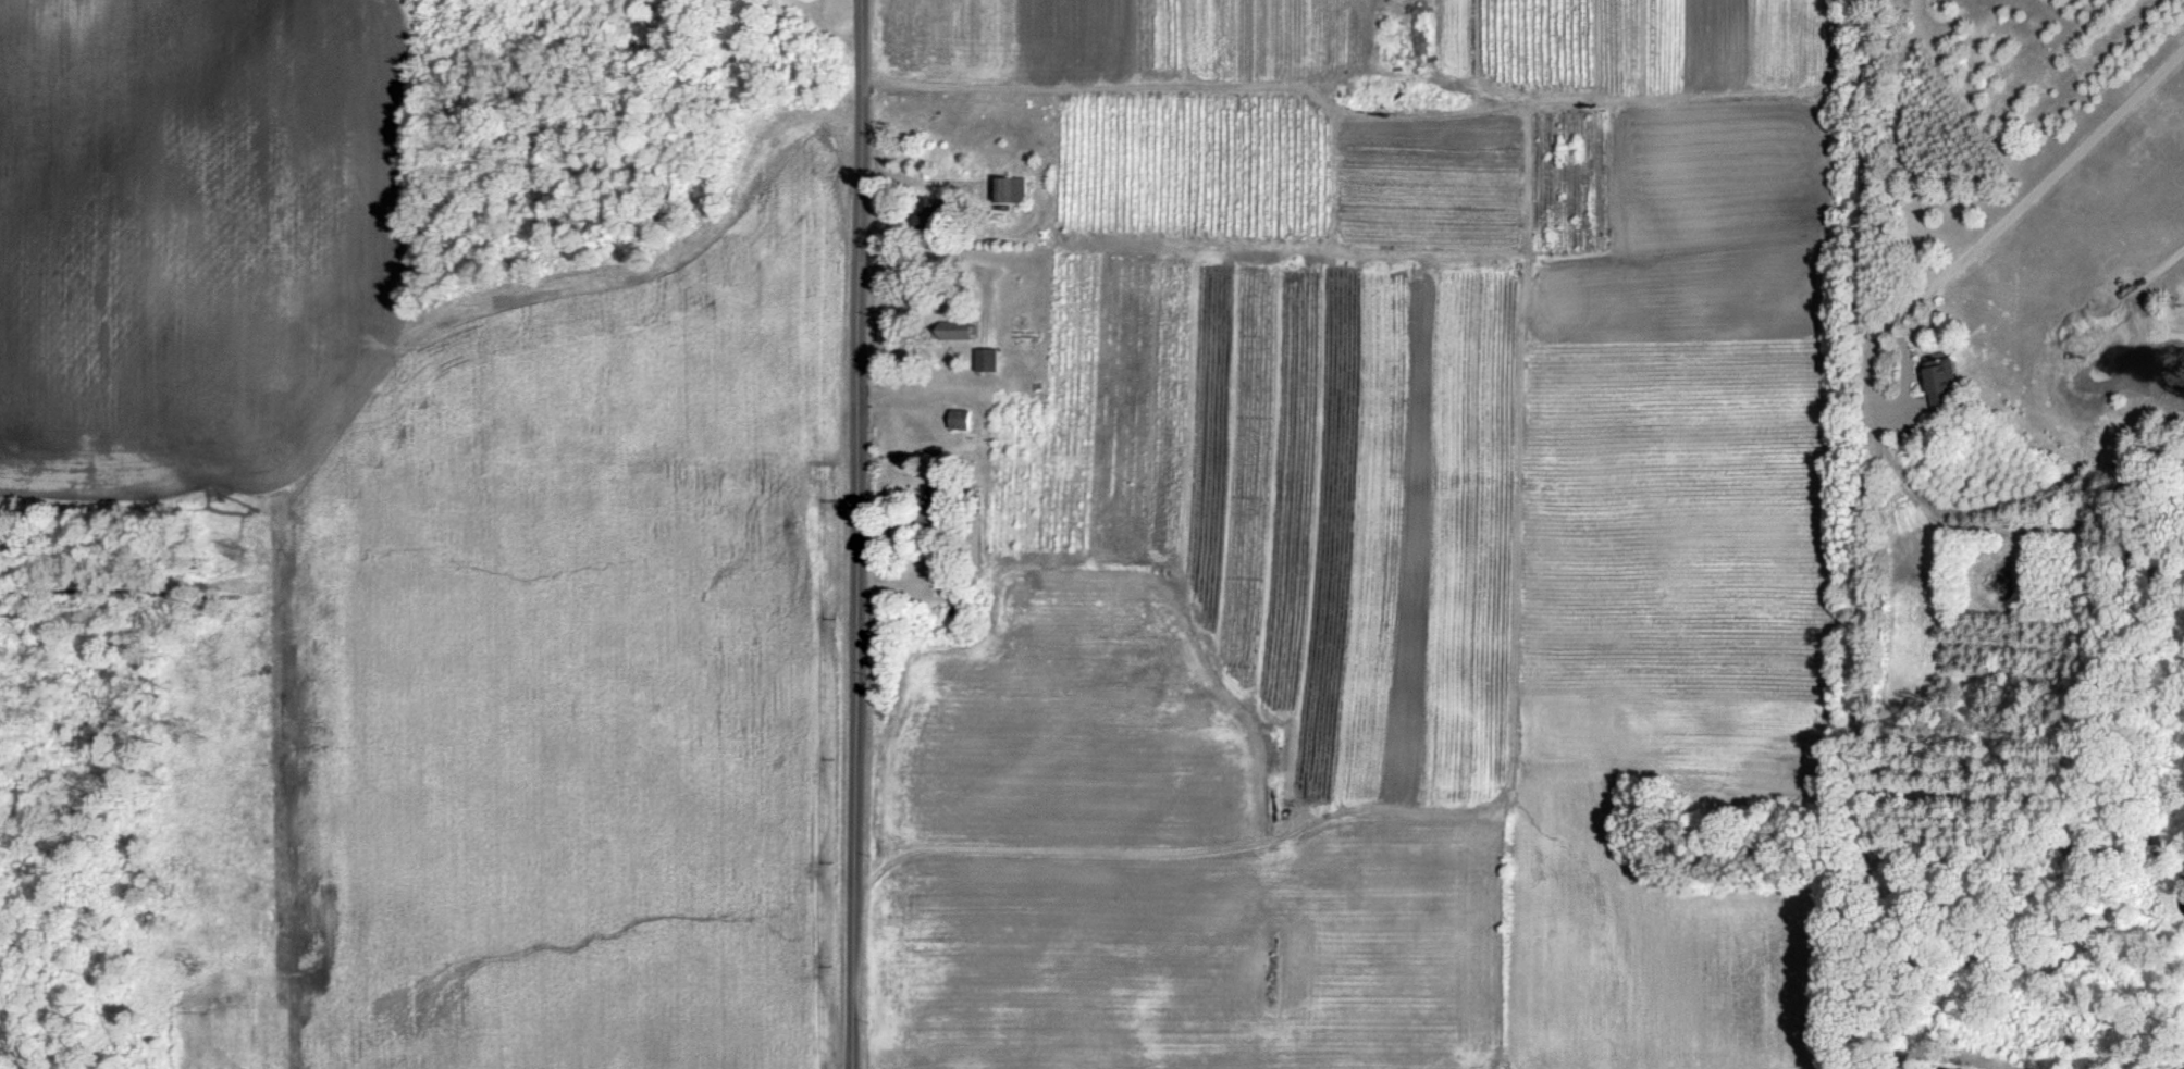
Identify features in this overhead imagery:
building: (1004, 188)
road: (2003, 208)
road: (946, 258)
building: (952, 328)
building: (984, 359)
building: (1938, 382)
building: (958, 419)
road: (859, 534)

